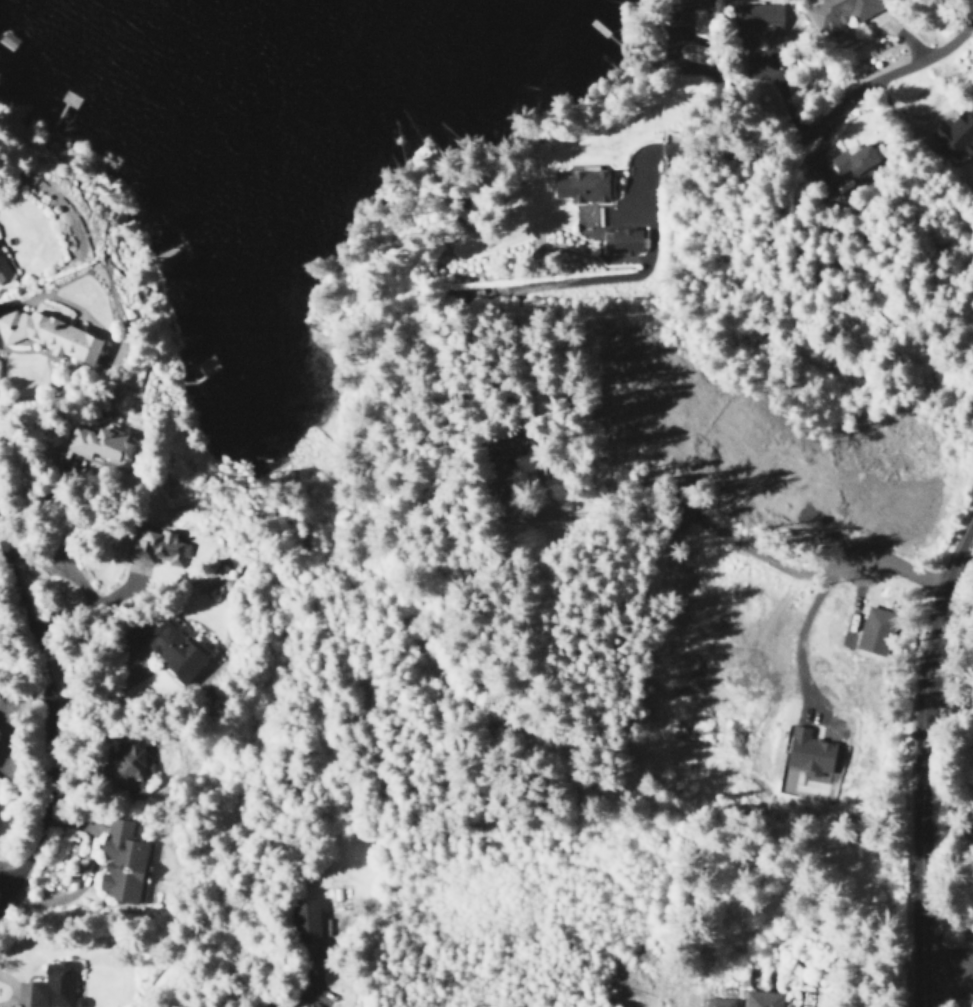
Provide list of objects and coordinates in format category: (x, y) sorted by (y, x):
building: (682, 3)
building: (840, 12)
building: (756, 21)
road: (890, 72)
building: (951, 136)
building: (848, 160)
building: (583, 186)
building: (620, 240)
building: (3, 269)
building: (49, 335)
building: (98, 443)
building: (499, 458)
building: (152, 549)
building: (875, 631)
building: (166, 646)
road: (50, 709)
building: (807, 752)
building: (128, 762)
road: (921, 763)
building: (120, 862)
road: (8, 868)
building: (305, 921)
building: (972, 967)
building: (54, 987)
building: (762, 999)
building: (718, 1002)
building: (302, 1006)

